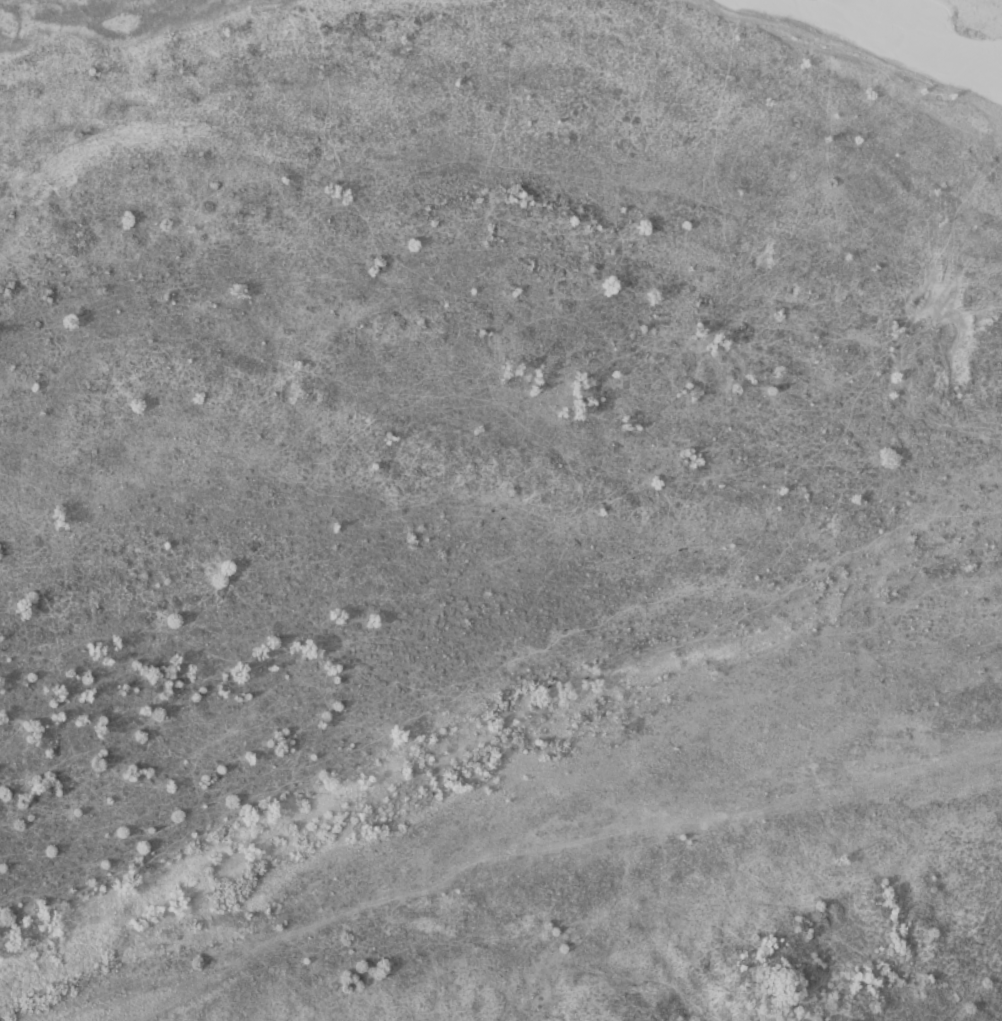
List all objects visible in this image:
river: (901, 37)

